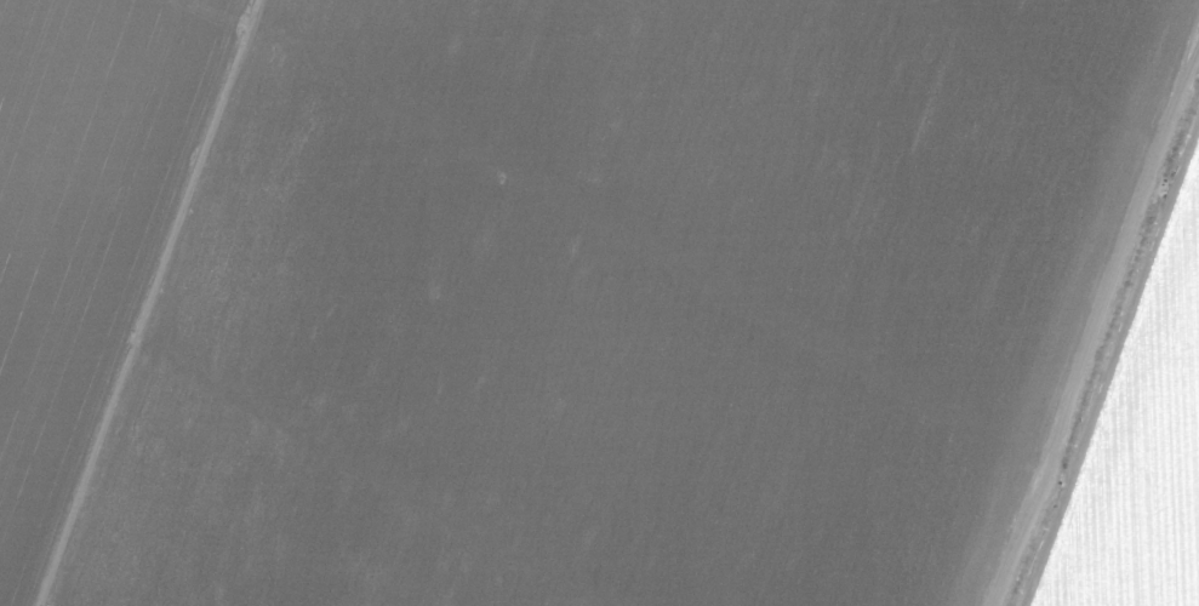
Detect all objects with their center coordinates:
crop: (599, 303)

